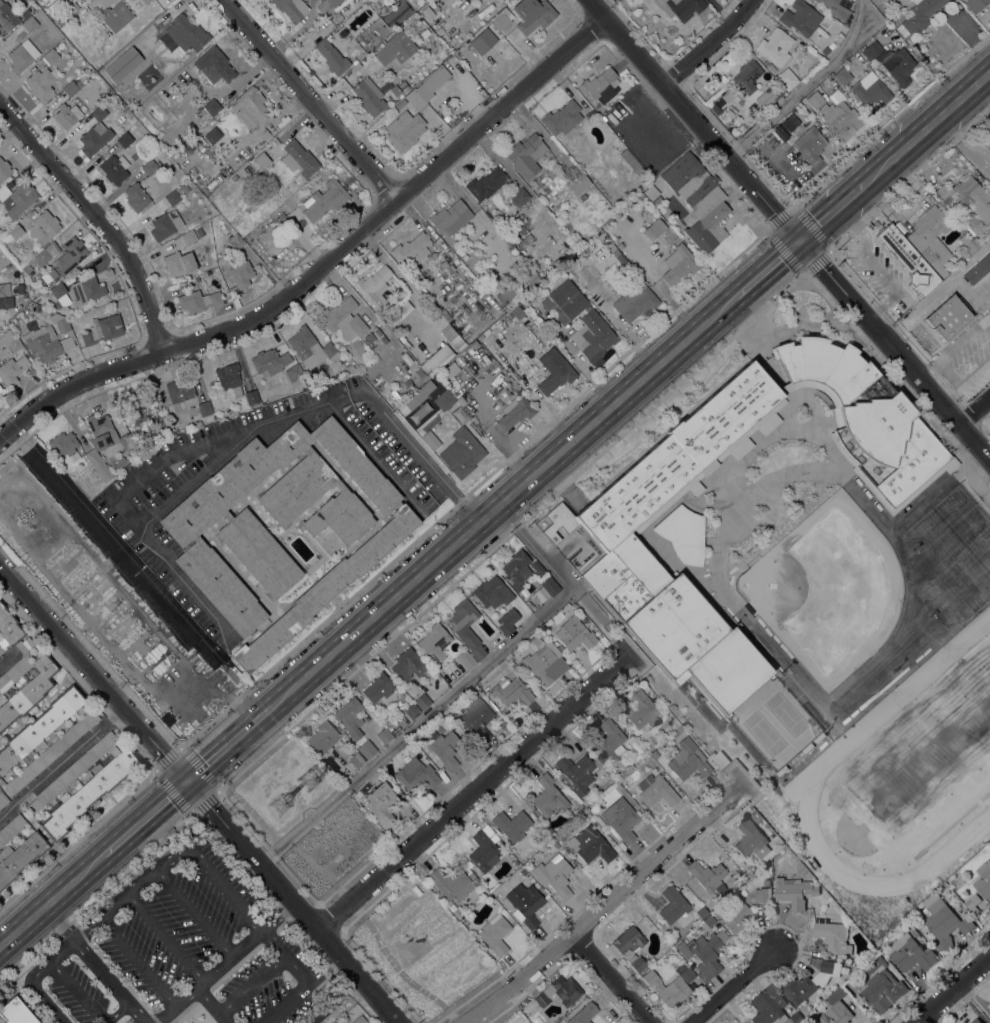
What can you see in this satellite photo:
building: (146, 1)
building: (445, 2)
building: (53, 5)
building: (975, 5)
building: (327, 6)
building: (73, 7)
building: (680, 7)
building: (292, 8)
building: (836, 9)
building: (397, 13)
building: (532, 14)
building: (116, 15)
building: (918, 16)
building: (335, 17)
building: (800, 17)
building: (7, 18)
building: (502, 18)
building: (28, 20)
building: (185, 31)
building: (483, 41)
road: (708, 42)
building: (831, 45)
building: (775, 46)
building: (395, 48)
building: (826, 50)
building: (22, 55)
building: (51, 56)
building: (332, 56)
building: (121, 60)
building: (892, 61)
building: (215, 65)
building: (771, 67)
building: (747, 72)
building: (842, 75)
building: (787, 78)
building: (83, 79)
building: (722, 79)
building: (41, 82)
building: (404, 85)
building: (600, 85)
building: (427, 87)
building: (70, 88)
road: (801, 88)
building: (869, 90)
building: (369, 96)
building: (717, 96)
building: (768, 96)
road: (309, 98)
building: (815, 99)
building: (400, 104)
building: (252, 107)
building: (209, 108)
building: (66, 114)
building: (591, 114)
building: (837, 114)
building: (755, 116)
building: (446, 117)
building: (562, 117)
building: (785, 126)
road: (926, 128)
building: (404, 129)
building: (95, 133)
building: (125, 139)
building: (810, 144)
building: (526, 154)
building: (262, 159)
building: (299, 159)
building: (632, 161)
building: (150, 167)
building: (115, 168)
building: (4, 169)
building: (234, 177)
building: (486, 183)
building: (578, 183)
building: (185, 187)
building: (136, 196)
building: (519, 196)
building: (583, 196)
building: (655, 196)
building: (967, 196)
building: (173, 197)
building: (16, 199)
building: (325, 199)
building: (699, 200)
road: (830, 211)
road: (100, 216)
building: (450, 217)
building: (974, 223)
building: (165, 224)
building: (44, 226)
building: (653, 229)
road: (788, 229)
building: (15, 231)
building: (199, 231)
building: (986, 236)
building: (189, 237)
building: (525, 240)
traffic signals: (798, 240)
building: (236, 242)
building: (976, 242)
building: (967, 243)
building: (919, 249)
building: (411, 250)
building: (44, 255)
building: (70, 255)
building: (433, 255)
building: (621, 258)
road: (321, 261)
building: (179, 263)
building: (679, 263)
building: (446, 266)
building: (27, 268)
road: (767, 268)
building: (978, 269)
building: (241, 274)
building: (531, 277)
building: (373, 286)
building: (23, 288)
building: (4, 289)
building: (58, 290)
building: (85, 290)
building: (403, 292)
building: (508, 295)
building: (527, 300)
building: (635, 300)
building: (199, 301)
building: (565, 301)
building: (6, 302)
building: (44, 311)
building: (337, 312)
building: (445, 314)
building: (948, 316)
building: (386, 321)
building: (357, 324)
building: (103, 329)
building: (447, 331)
building: (593, 335)
building: (370, 337)
building: (49, 339)
building: (301, 341)
building: (14, 343)
building: (329, 351)
building: (437, 359)
building: (270, 361)
building: (349, 368)
building: (554, 370)
building: (9, 372)
building: (420, 372)
building: (295, 373)
building: (229, 380)
building: (408, 382)
building: (180, 389)
building: (419, 394)
building: (252, 398)
building: (444, 400)
building: (461, 400)
road: (14, 402)
building: (204, 407)
road: (975, 409)
building: (146, 412)
building: (515, 412)
building: (192, 420)
building: (105, 432)
building: (63, 443)
road: (415, 448)
building: (307, 449)
building: (463, 452)
building: (120, 464)
building: (97, 465)
road: (144, 474)
building: (339, 484)
building: (223, 487)
building: (296, 488)
road: (503, 501)
building: (398, 504)
building: (226, 515)
building: (340, 516)
railway: (495, 516)
building: (613, 527)
building: (683, 534)
building: (195, 537)
building: (259, 553)
building: (537, 567)
building: (517, 569)
building: (549, 585)
building: (221, 587)
building: (326, 589)
building: (492, 592)
road: (69, 598)
building: (507, 620)
building: (467, 626)
building: (574, 633)
building: (435, 641)
building: (1, 649)
road: (6, 656)
building: (466, 659)
building: (408, 664)
building: (545, 664)
building: (227, 665)
building: (22, 671)
building: (378, 687)
road: (455, 690)
building: (512, 690)
road: (205, 691)
building: (423, 700)
road: (227, 707)
building: (640, 709)
building: (412, 710)
road: (115, 713)
building: (350, 716)
building: (477, 719)
building: (39, 726)
building: (384, 735)
building: (323, 737)
building: (610, 739)
road: (274, 740)
road: (229, 742)
road: (180, 746)
building: (367, 748)
building: (445, 749)
building: (52, 750)
building: (654, 753)
road: (147, 757)
building: (719, 759)
building: (356, 760)
building: (688, 760)
building: (541, 762)
road: (53, 767)
building: (72, 772)
building: (576, 772)
building: (416, 774)
traffic signals: (187, 779)
power tower: (312, 779)
building: (618, 787)
building: (656, 790)
road: (472, 792)
road: (200, 794)
building: (548, 795)
building: (3, 798)
building: (382, 803)
power tower: (281, 806)
building: (635, 806)
building: (66, 814)
road: (145, 817)
building: (756, 817)
building: (620, 819)
building: (512, 824)
building: (11, 828)
building: (490, 833)
building: (751, 839)
road: (286, 840)
building: (556, 844)
building: (590, 844)
building: (483, 851)
road: (201, 859)
building: (468, 863)
building: (523, 870)
building: (555, 874)
building: (708, 876)
building: (983, 879)
building: (452, 882)
building: (767, 883)
building: (794, 891)
building: (762, 894)
road: (51, 900)
building: (525, 902)
building: (673, 904)
building: (973, 904)
road: (602, 906)
road: (193, 912)
building: (702, 912)
building: (457, 913)
building: (517, 915)
building: (736, 915)
building: (709, 920)
building: (944, 921)
building: (495, 933)
building: (675, 936)
road: (163, 937)
building: (834, 937)
road: (348, 938)
building: (629, 946)
road: (60, 949)
building: (683, 949)
building: (707, 953)
building: (910, 953)
road: (137, 961)
road: (225, 961)
road: (94, 964)
building: (875, 964)
road: (402, 973)
building: (649, 976)
road: (611, 978)
road: (249, 981)
building: (811, 982)
road: (733, 983)
building: (677, 985)
road: (951, 989)
building: (883, 990)
building: (559, 991)
road: (35, 992)
building: (836, 994)
road: (467, 998)
road: (85, 999)
road: (334, 1000)
road: (284, 1002)
road: (212, 1004)
building: (771, 1007)
road: (501, 1011)
building: (16, 1012)
building: (583, 1013)
building: (836, 1014)
building: (360, 1019)
building: (976, 1020)
building: (189, 1022)

